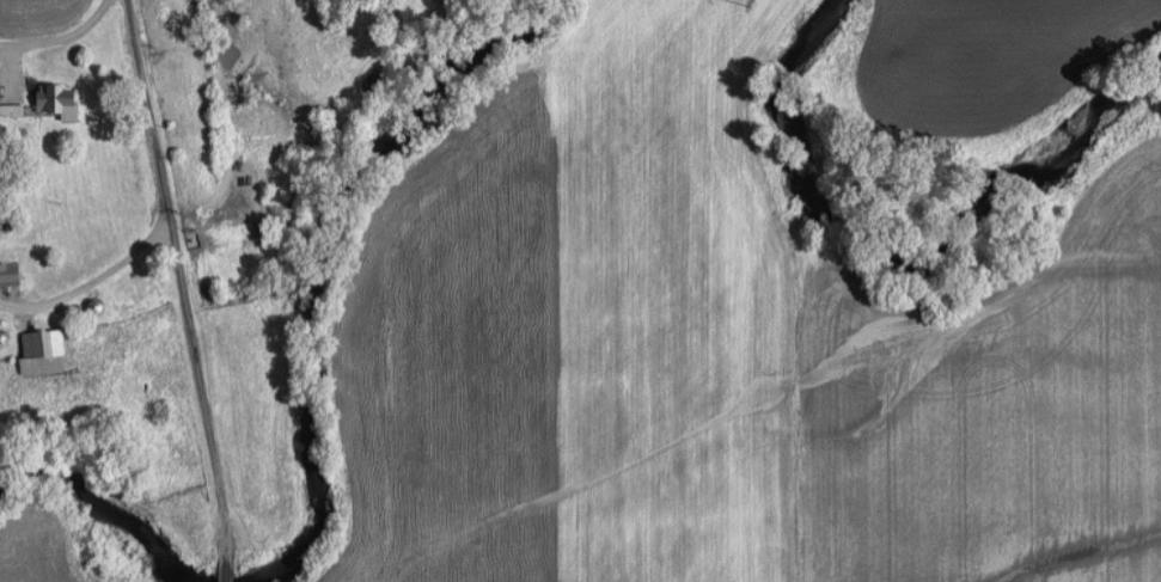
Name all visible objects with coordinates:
road: (55, 36)
building: (61, 98)
building: (11, 272)
road: (84, 281)
road: (171, 289)
building: (44, 349)

